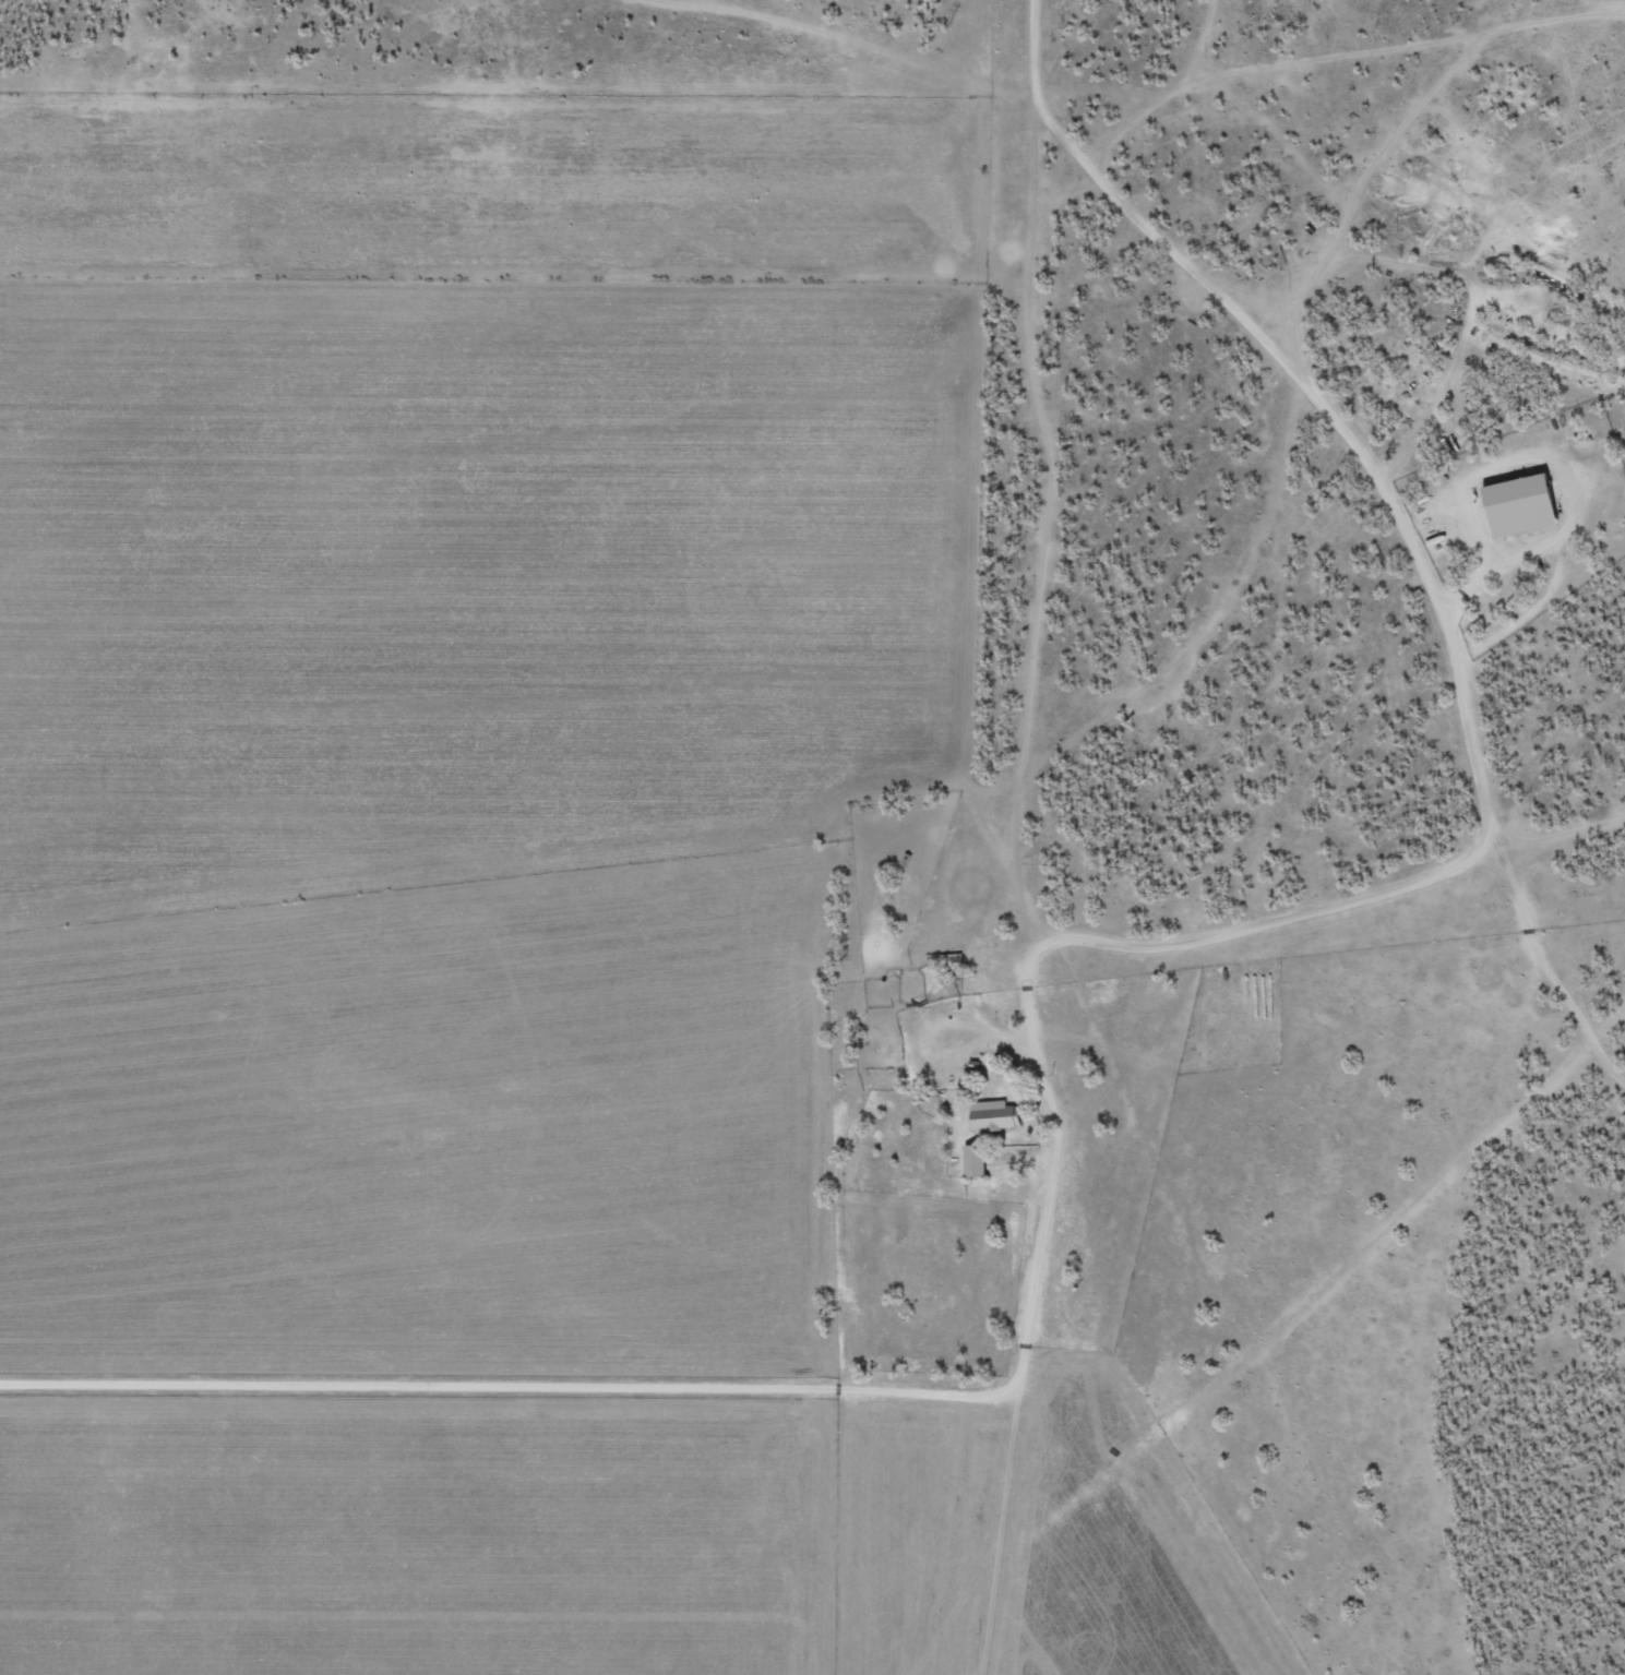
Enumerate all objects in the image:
building: (1524, 505)
road: (1021, 847)
building: (997, 1114)
building: (977, 1159)
road: (501, 1390)

